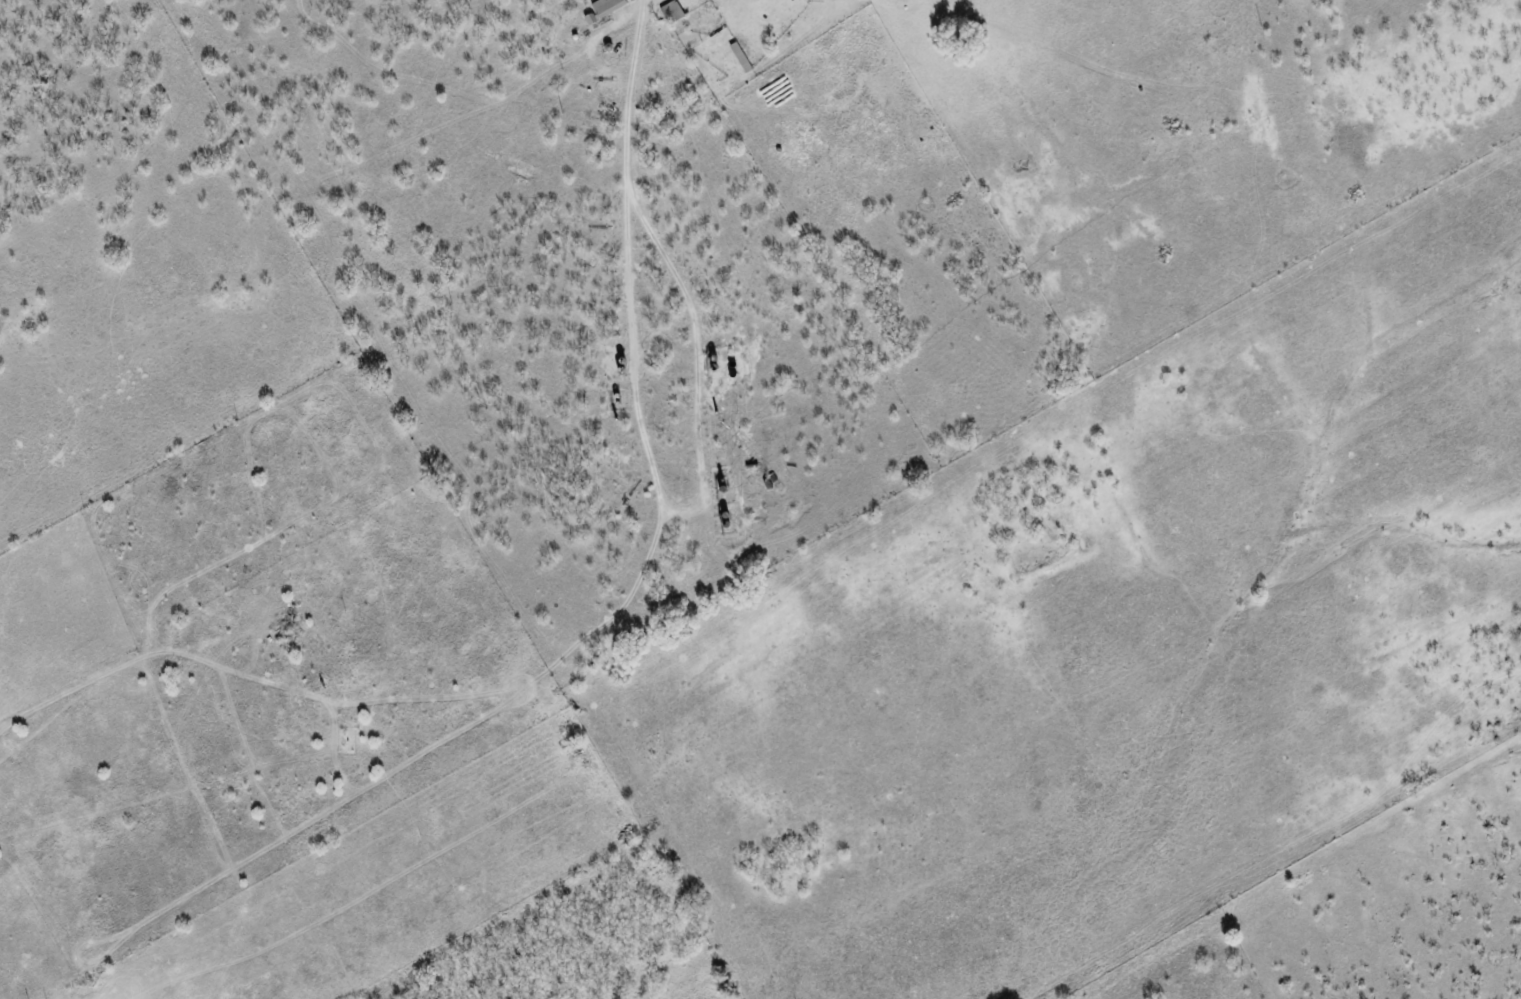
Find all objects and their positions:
building: (606, 7)
building: (670, 11)
building: (739, 57)
road: (625, 252)

